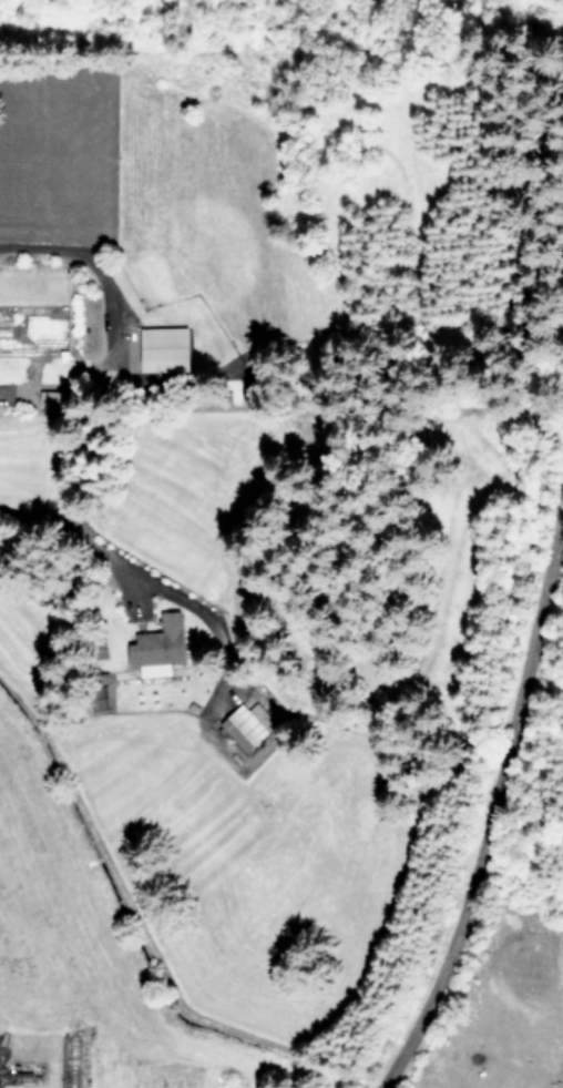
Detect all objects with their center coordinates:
road: (89, 264)
building: (167, 347)
road: (66, 535)
building: (160, 645)
road: (501, 729)

